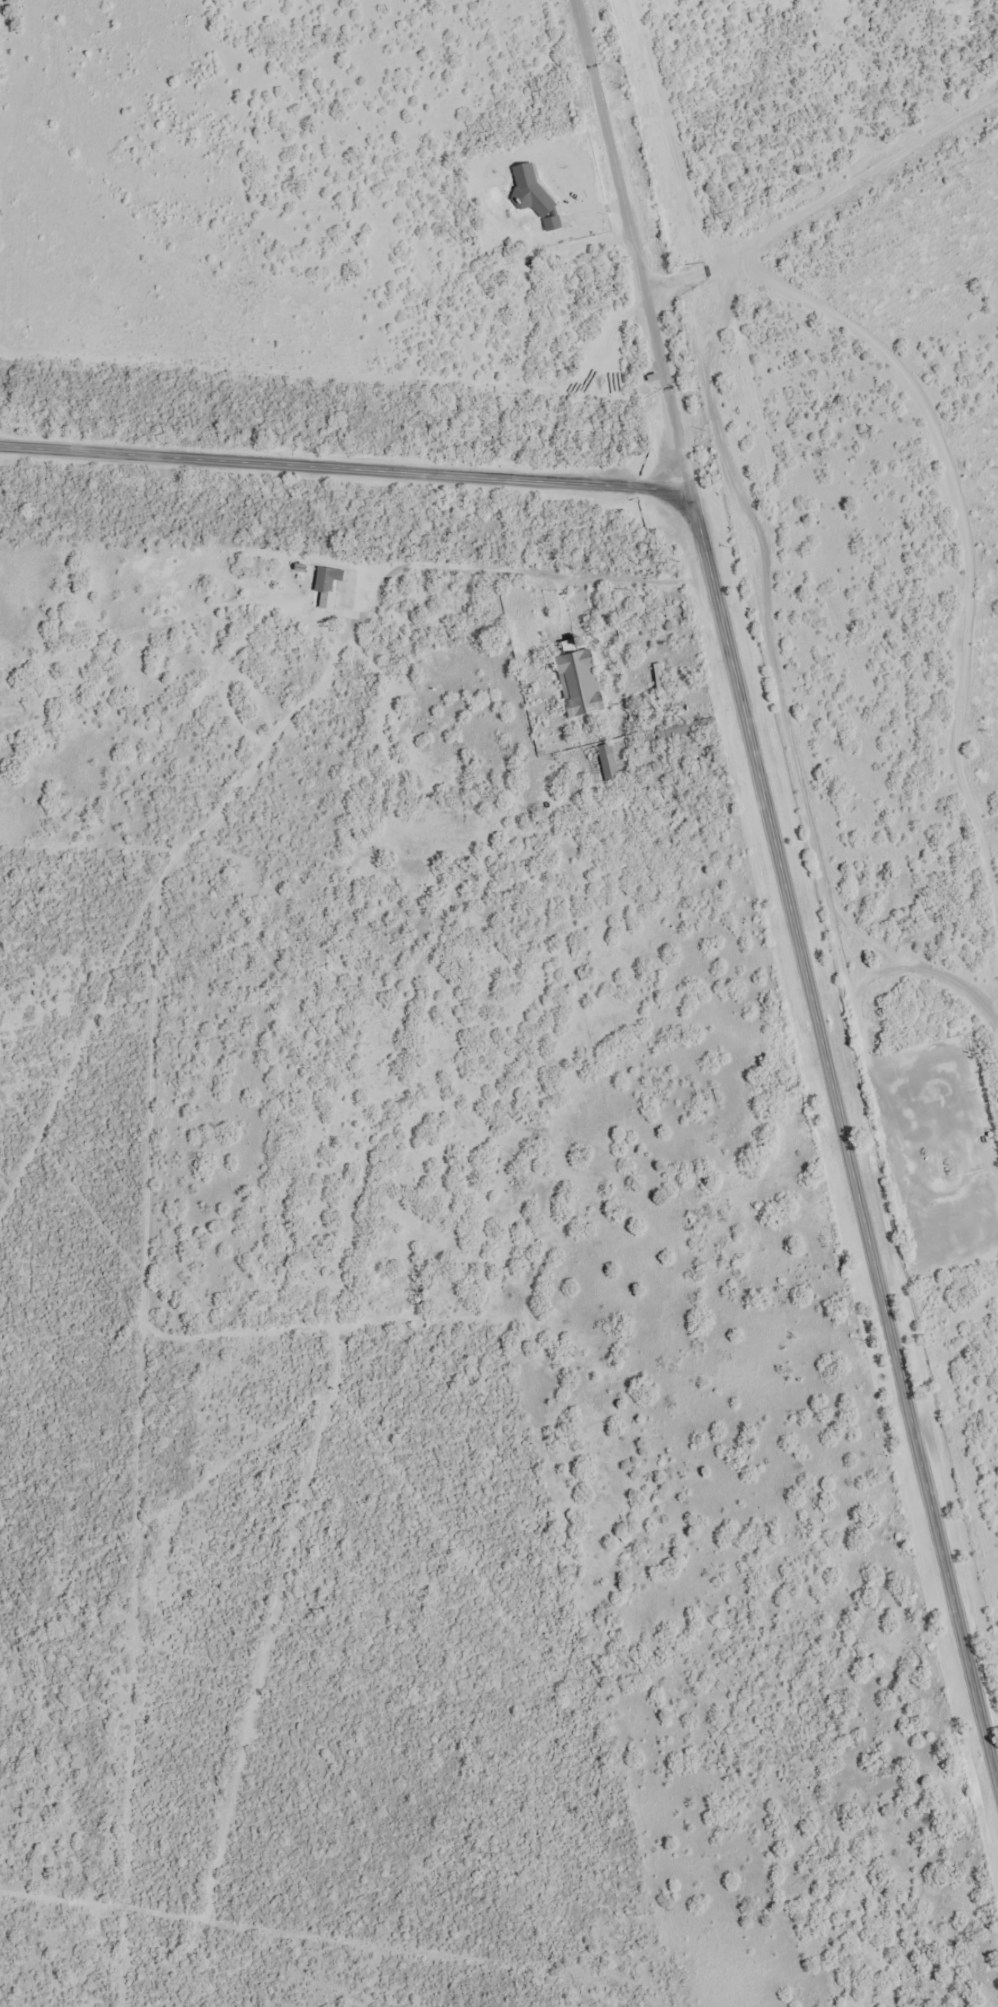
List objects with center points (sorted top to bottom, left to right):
building: (533, 190)
road: (635, 249)
road: (347, 470)
road: (518, 559)
building: (330, 589)
road: (845, 1143)

